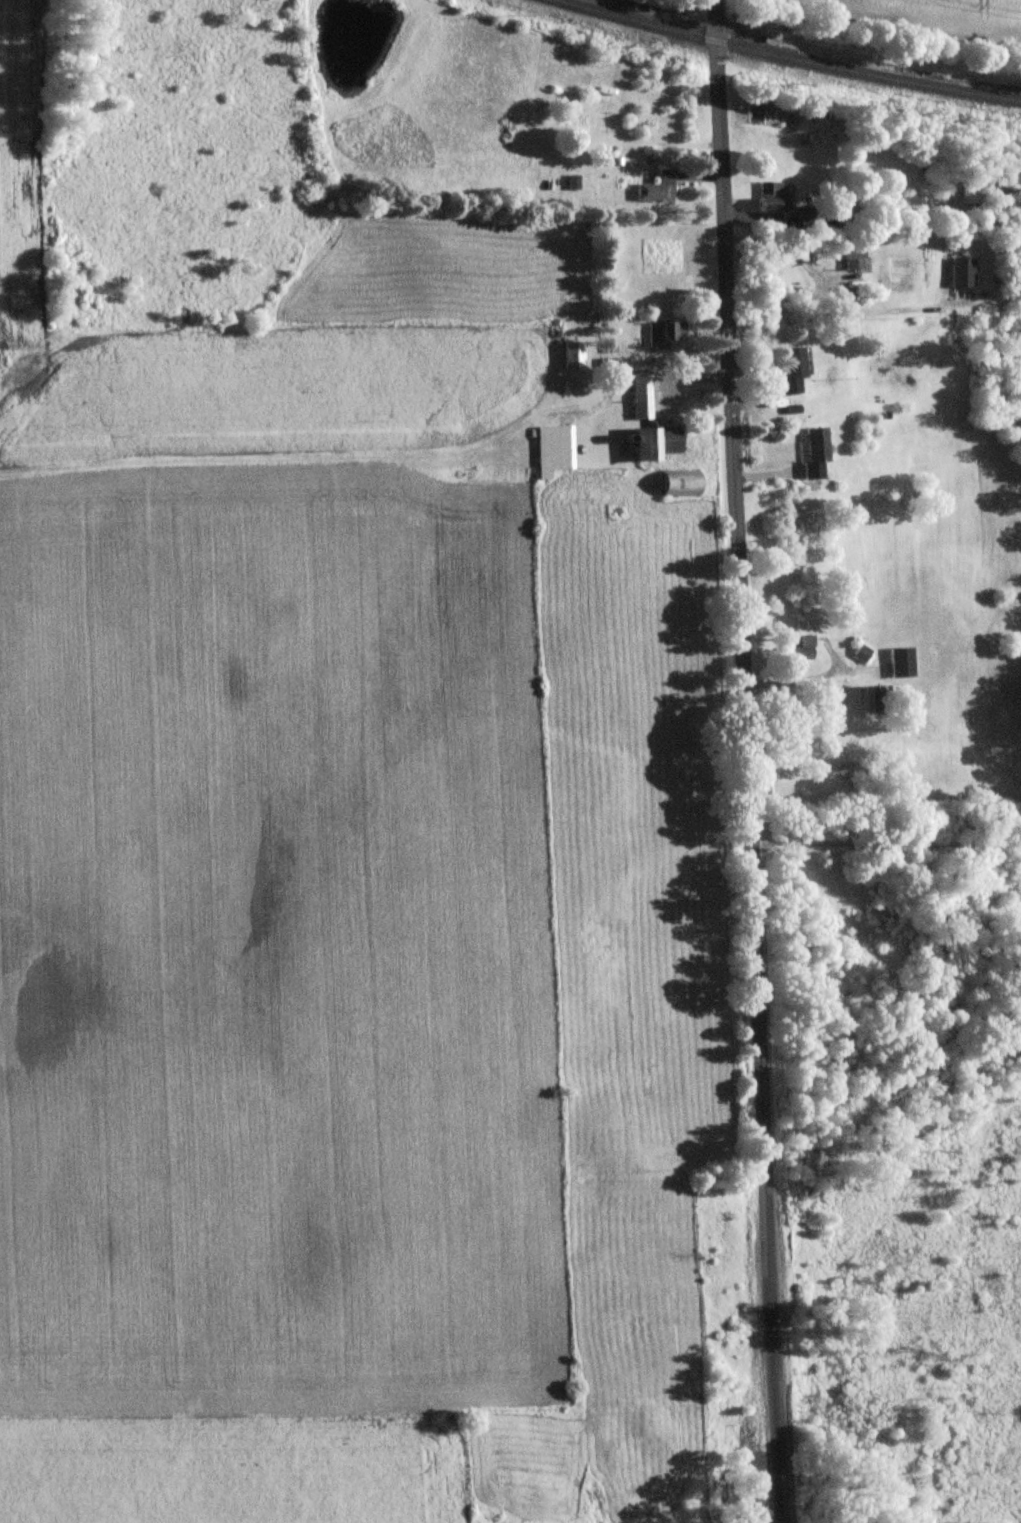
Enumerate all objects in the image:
railway: (638, 20)
railway: (866, 70)
building: (581, 118)
building: (655, 187)
building: (768, 195)
building: (851, 257)
building: (962, 272)
road: (815, 280)
building: (663, 332)
building: (571, 354)
building: (790, 368)
building: (639, 397)
building: (655, 441)
building: (552, 449)
building: (812, 450)
building: (678, 483)
building: (799, 646)
building: (860, 654)
building: (900, 662)
building: (876, 698)
road: (746, 761)
road: (886, 842)

